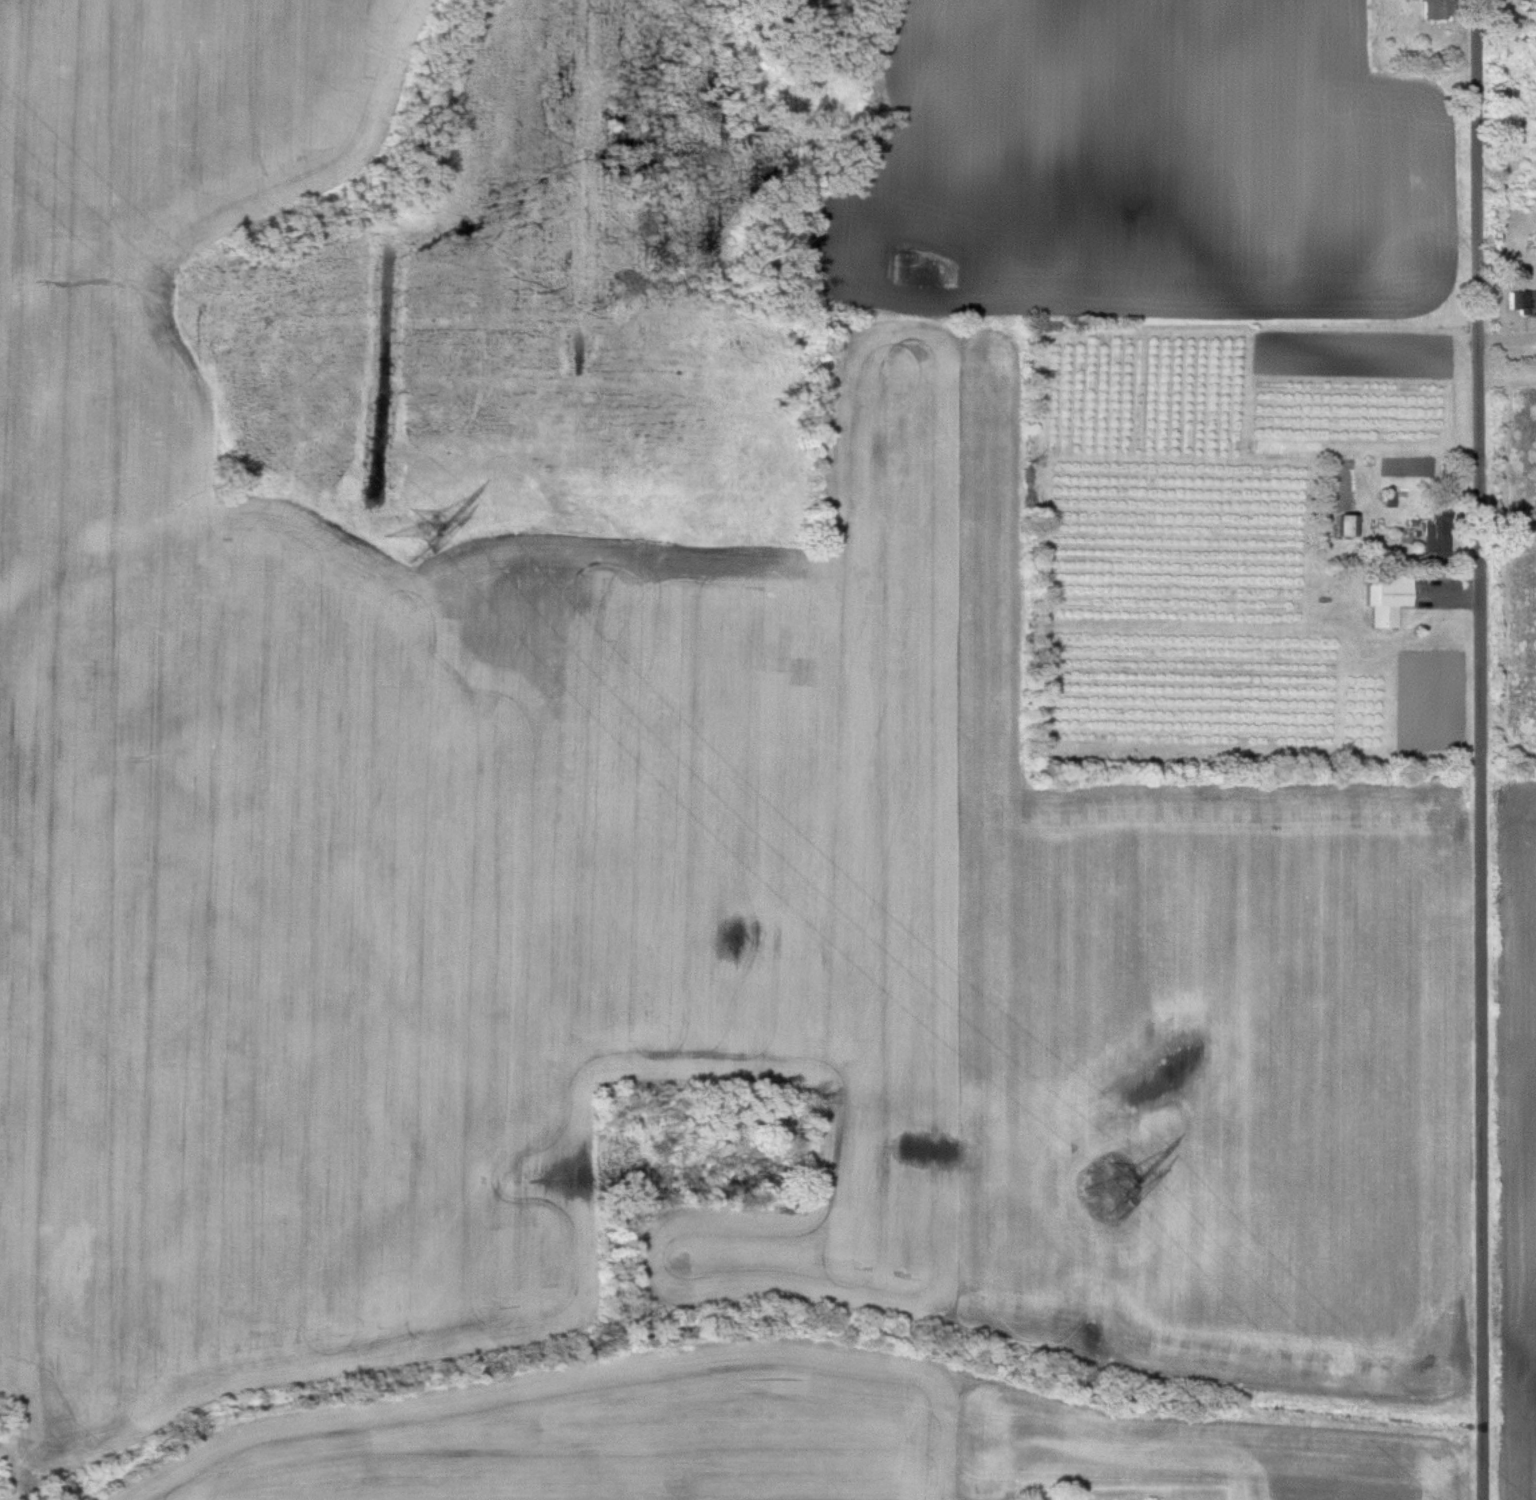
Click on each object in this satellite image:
building: (1435, 9)
building: (1519, 301)
building: (1390, 498)
building: (1436, 522)
building: (1346, 525)
power tower: (416, 534)
building: (1389, 603)
road: (1484, 749)
power tower: (1109, 1186)

